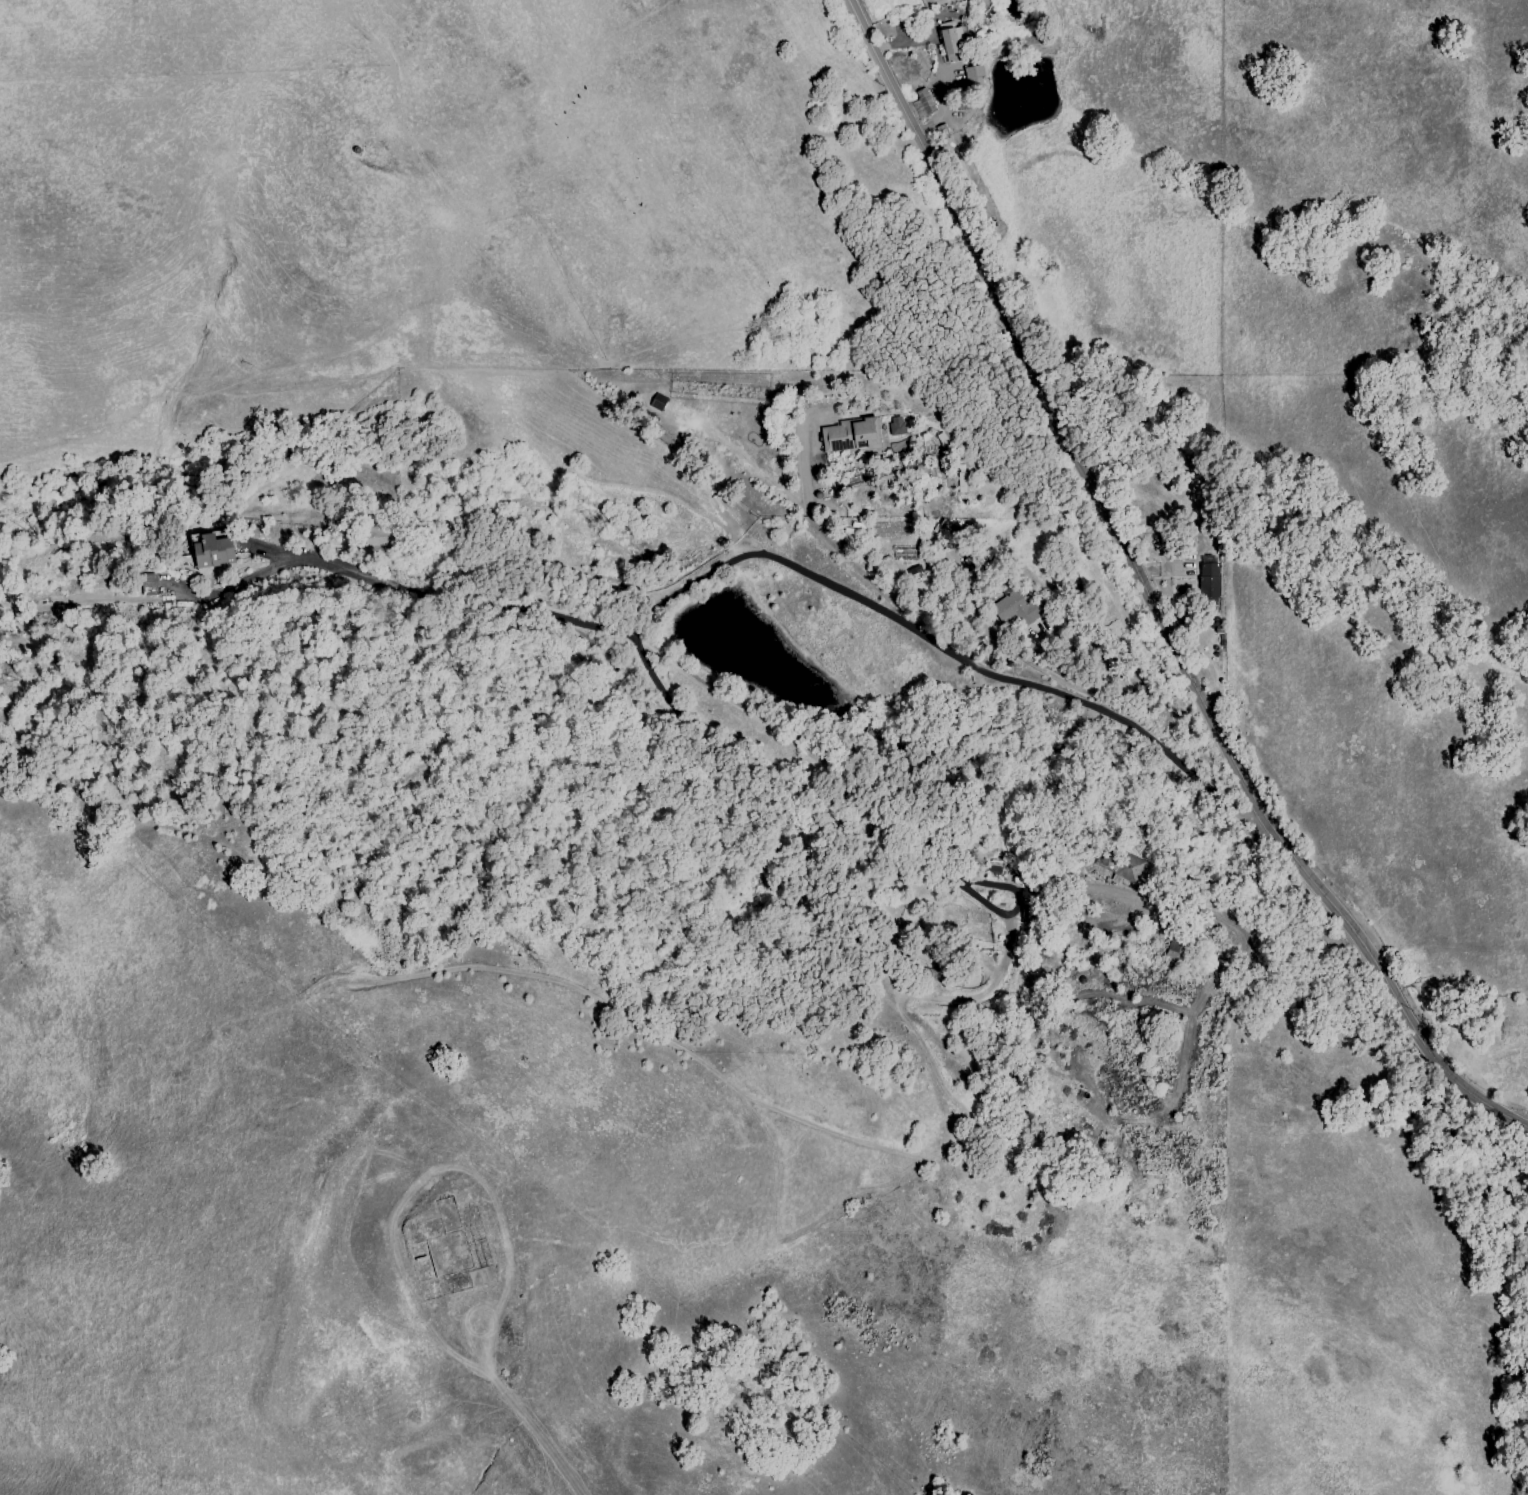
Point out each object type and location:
building: (954, 36)
road: (940, 62)
building: (972, 75)
building: (925, 101)
building: (895, 424)
building: (853, 430)
road: (827, 537)
building: (215, 547)
building: (1209, 573)
road: (396, 578)
building: (148, 583)
road: (1146, 595)
building: (1024, 609)
road: (945, 654)
road: (1043, 671)
road: (922, 861)
building: (1130, 864)
building: (995, 867)
building: (1174, 949)
road: (492, 1378)

